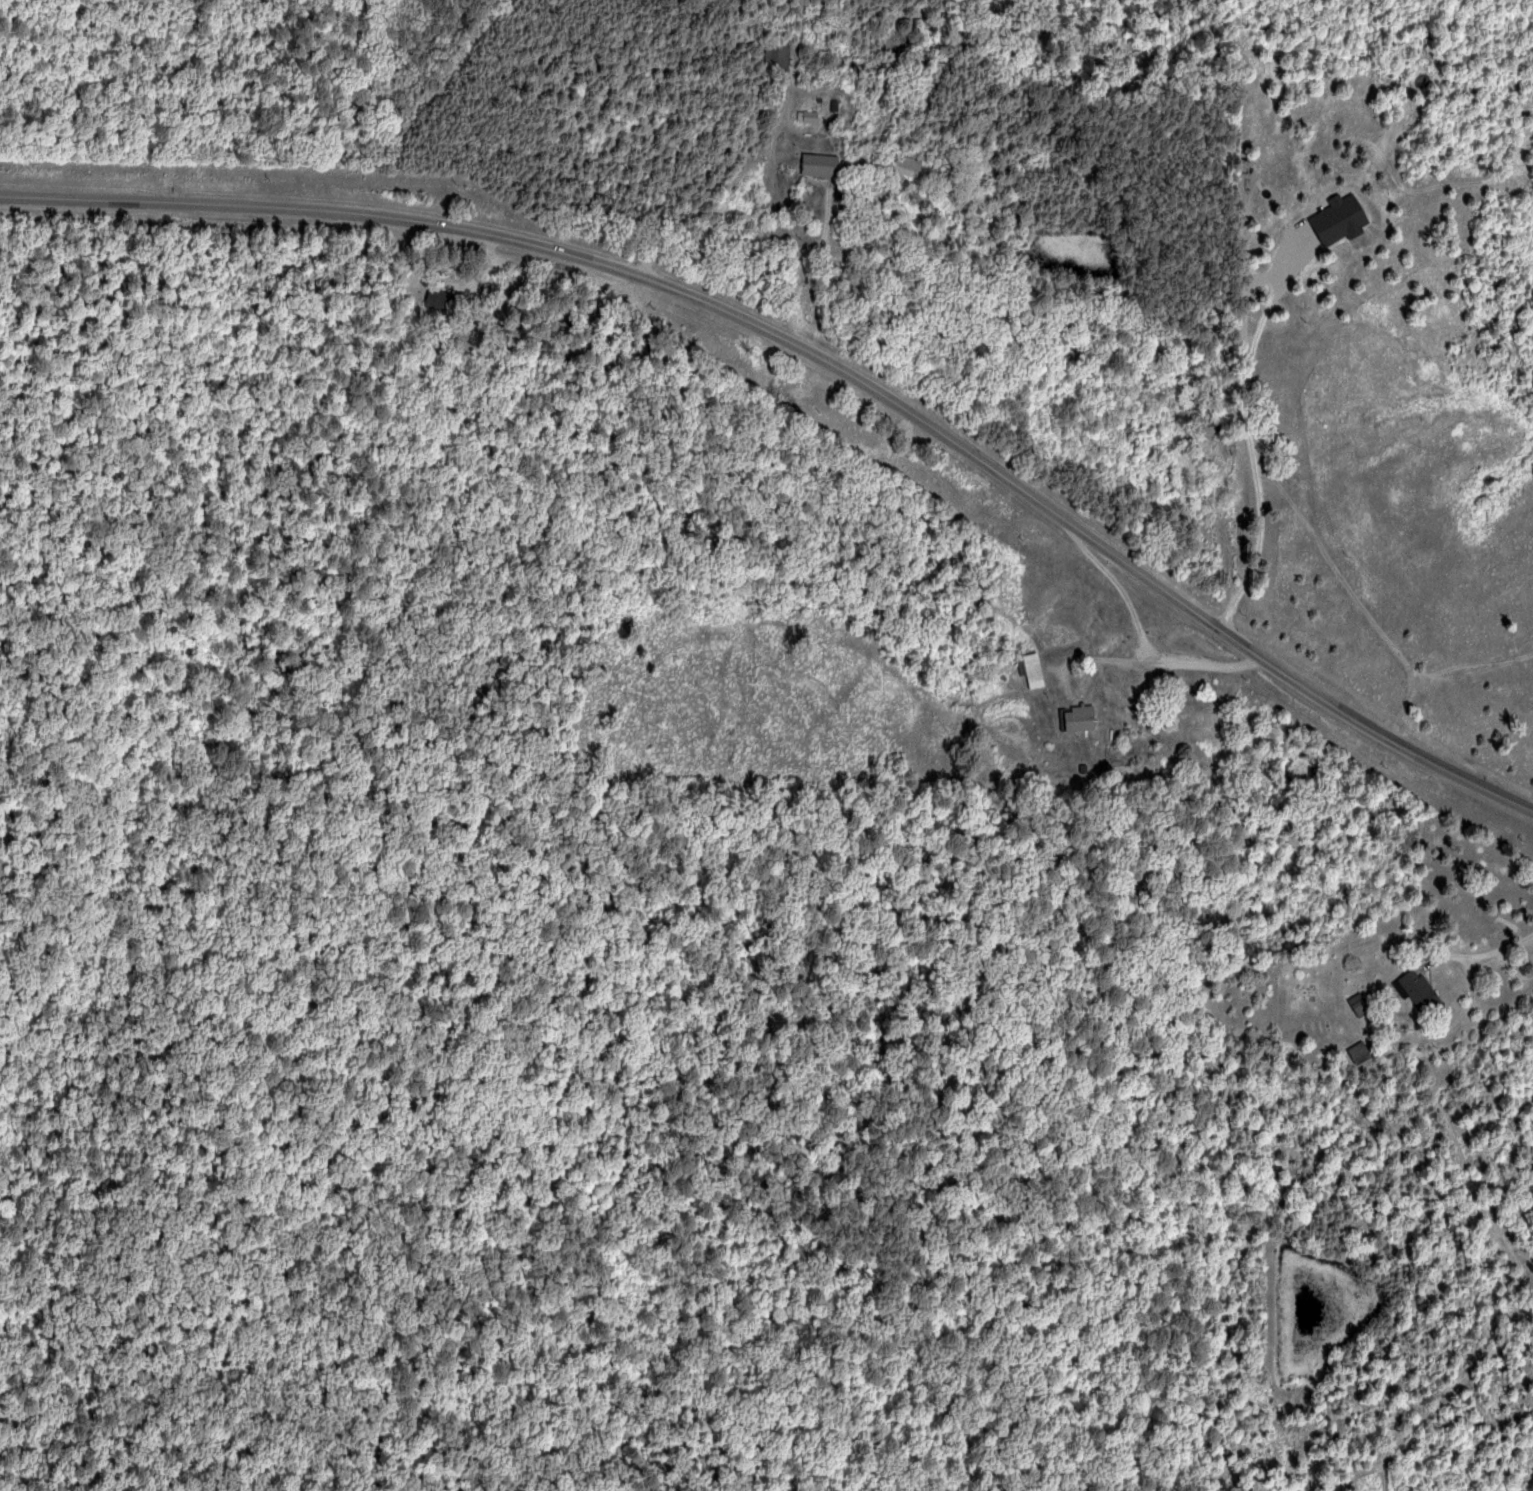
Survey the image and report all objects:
building: (821, 164)
building: (910, 166)
building: (1341, 219)
building: (443, 300)
road: (819, 360)
building: (1034, 670)
building: (1081, 718)
building: (1420, 989)

